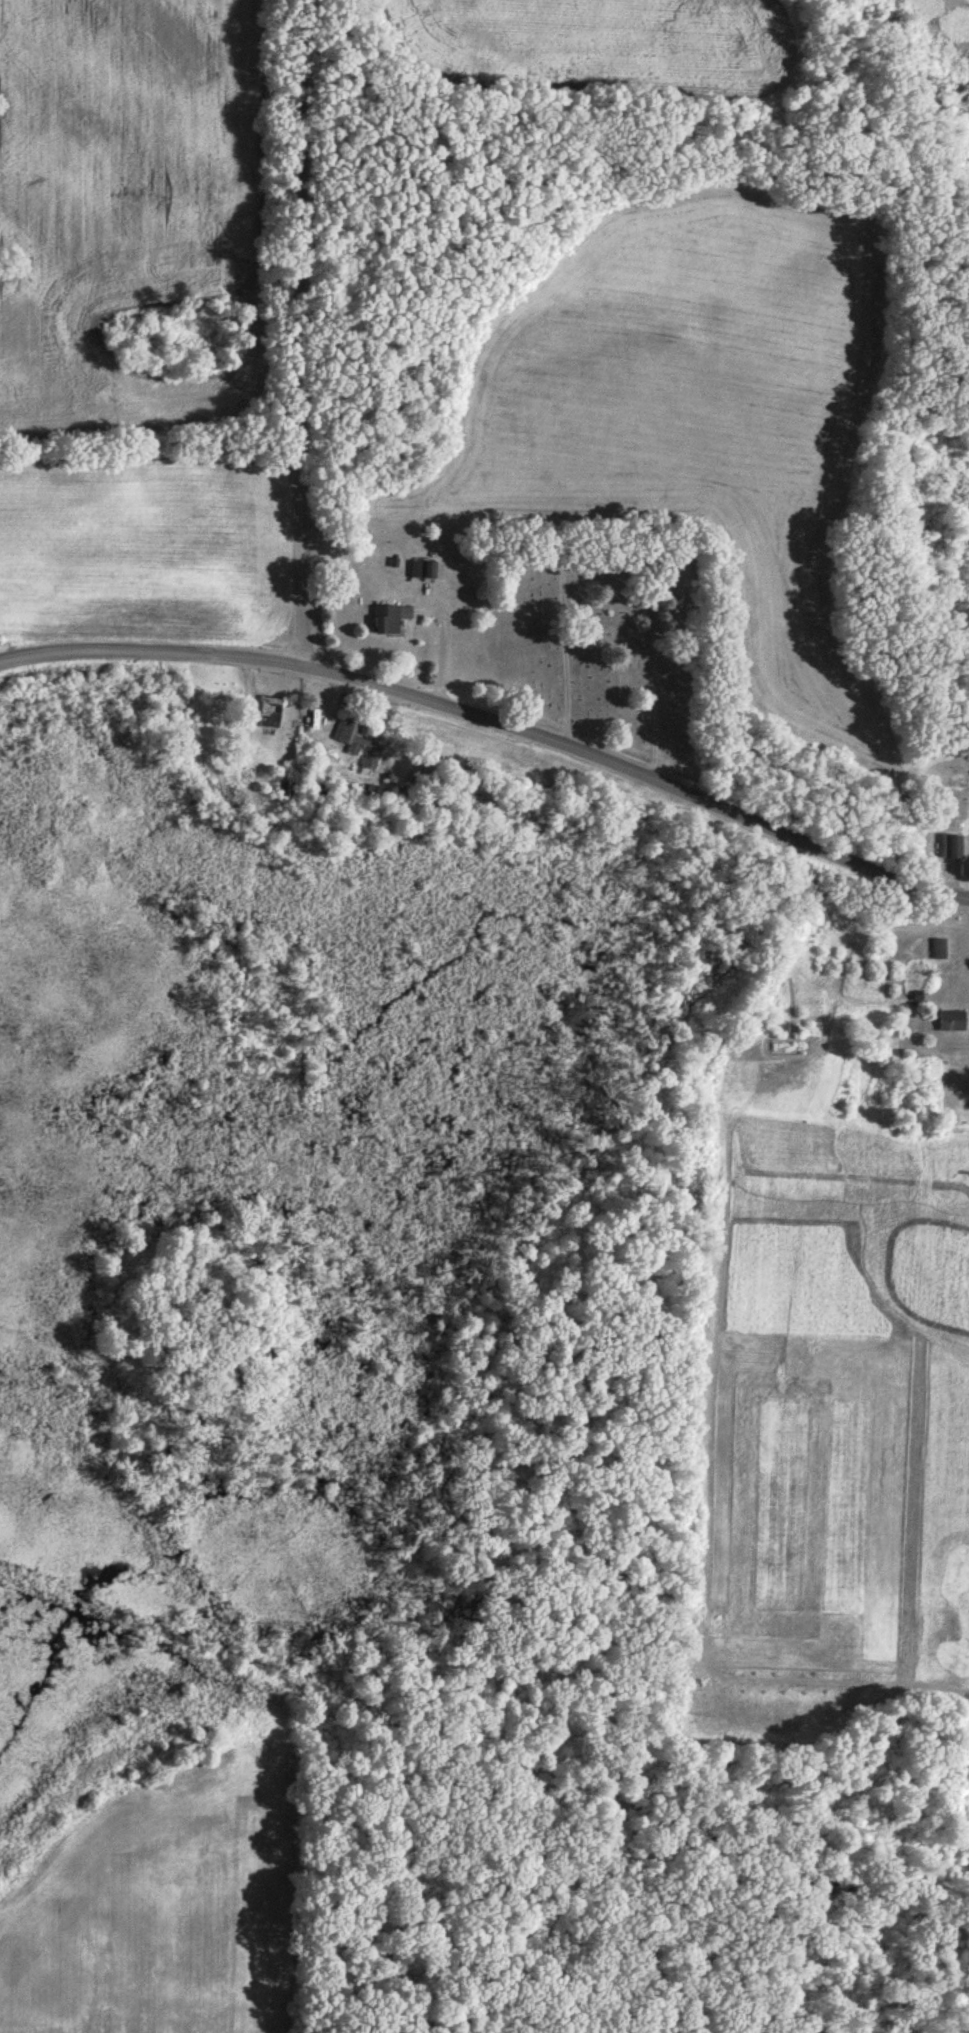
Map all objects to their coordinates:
road: (301, 333)
building: (424, 567)
building: (391, 617)
road: (109, 647)
building: (272, 710)
building: (360, 742)
road: (600, 760)
building: (955, 845)
building: (940, 947)
building: (954, 1019)

